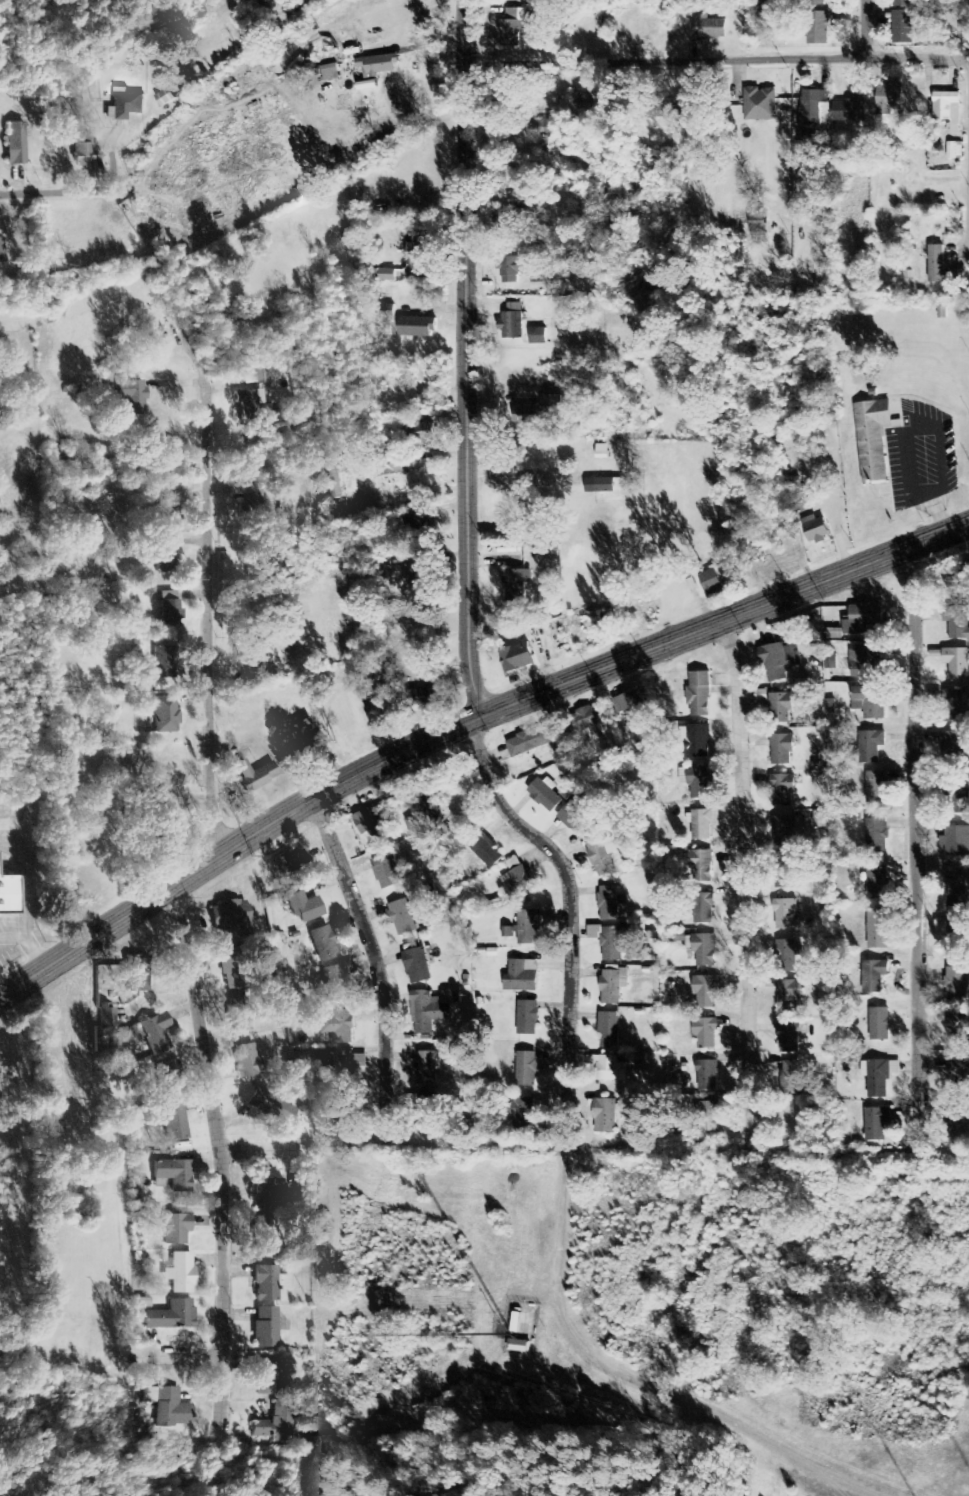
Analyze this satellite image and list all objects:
building: (815, 3)
building: (904, 4)
building: (904, 28)
building: (710, 29)
building: (818, 29)
road: (873, 29)
building: (511, 32)
road: (723, 60)
building: (377, 66)
building: (330, 73)
building: (890, 97)
building: (165, 98)
building: (124, 105)
building: (760, 105)
building: (812, 107)
building: (658, 109)
building: (948, 111)
building: (850, 112)
building: (15, 144)
building: (82, 151)
building: (954, 152)
road: (62, 189)
road: (781, 193)
building: (516, 210)
building: (1, 253)
building: (423, 254)
building: (937, 265)
building: (514, 269)
building: (540, 283)
building: (512, 323)
building: (417, 327)
building: (153, 336)
building: (538, 336)
building: (250, 379)
building: (132, 397)
building: (252, 405)
building: (540, 412)
building: (870, 438)
building: (168, 452)
building: (602, 452)
building: (399, 467)
building: (335, 475)
building: (612, 486)
building: (166, 513)
building: (416, 526)
building: (816, 530)
building: (162, 560)
building: (417, 574)
building: (957, 577)
road: (484, 580)
building: (710, 584)
building: (517, 586)
building: (691, 586)
building: (169, 610)
road: (222, 611)
building: (612, 616)
building: (862, 621)
building: (957, 623)
building: (516, 657)
building: (779, 661)
building: (863, 662)
building: (163, 663)
building: (954, 663)
building: (699, 695)
building: (423, 698)
building: (869, 702)
building: (633, 707)
building: (954, 707)
building: (781, 708)
building: (165, 715)
road: (462, 715)
building: (587, 719)
building: (529, 742)
building: (697, 742)
building: (871, 747)
building: (953, 747)
building: (782, 751)
building: (301, 754)
building: (255, 776)
building: (696, 782)
building: (876, 788)
building: (783, 791)
building: (544, 796)
building: (434, 797)
building: (960, 797)
building: (576, 818)
building: (166, 820)
building: (373, 821)
building: (700, 825)
building: (786, 831)
building: (877, 831)
building: (957, 842)
building: (485, 851)
road: (914, 854)
building: (600, 858)
building: (291, 862)
building: (700, 866)
building: (378, 870)
building: (787, 872)
road: (744, 882)
building: (878, 883)
building: (517, 885)
building: (955, 889)
building: (6, 894)
building: (610, 903)
building: (304, 908)
building: (704, 909)
building: (785, 914)
building: (229, 916)
building: (402, 918)
building: (528, 928)
building: (878, 930)
building: (953, 931)
building: (507, 933)
building: (615, 943)
building: (324, 945)
building: (695, 946)
building: (787, 956)
road: (374, 957)
building: (416, 966)
building: (233, 968)
building: (135, 977)
building: (874, 977)
building: (521, 980)
building: (956, 984)
building: (335, 985)
building: (610, 988)
building: (706, 993)
building: (788, 996)
building: (428, 1012)
building: (241, 1016)
building: (106, 1018)
building: (528, 1019)
building: (880, 1025)
building: (338, 1027)
building: (959, 1029)
building: (609, 1032)
building: (154, 1034)
building: (706, 1034)
building: (788, 1039)
building: (248, 1063)
building: (339, 1067)
building: (609, 1068)
building: (426, 1069)
building: (527, 1071)
building: (708, 1075)
building: (959, 1075)
building: (879, 1077)
building: (166, 1078)
building: (790, 1079)
building: (273, 1108)
building: (344, 1108)
building: (429, 1112)
building: (707, 1112)
building: (522, 1115)
building: (606, 1118)
building: (173, 1123)
building: (957, 1123)
building: (876, 1124)
road: (223, 1161)
building: (173, 1176)
building: (268, 1197)
building: (175, 1230)
building: (265, 1238)
building: (179, 1274)
building: (266, 1284)
building: (170, 1318)
building: (265, 1329)
building: (264, 1381)
building: (166, 1412)
building: (276, 1424)

